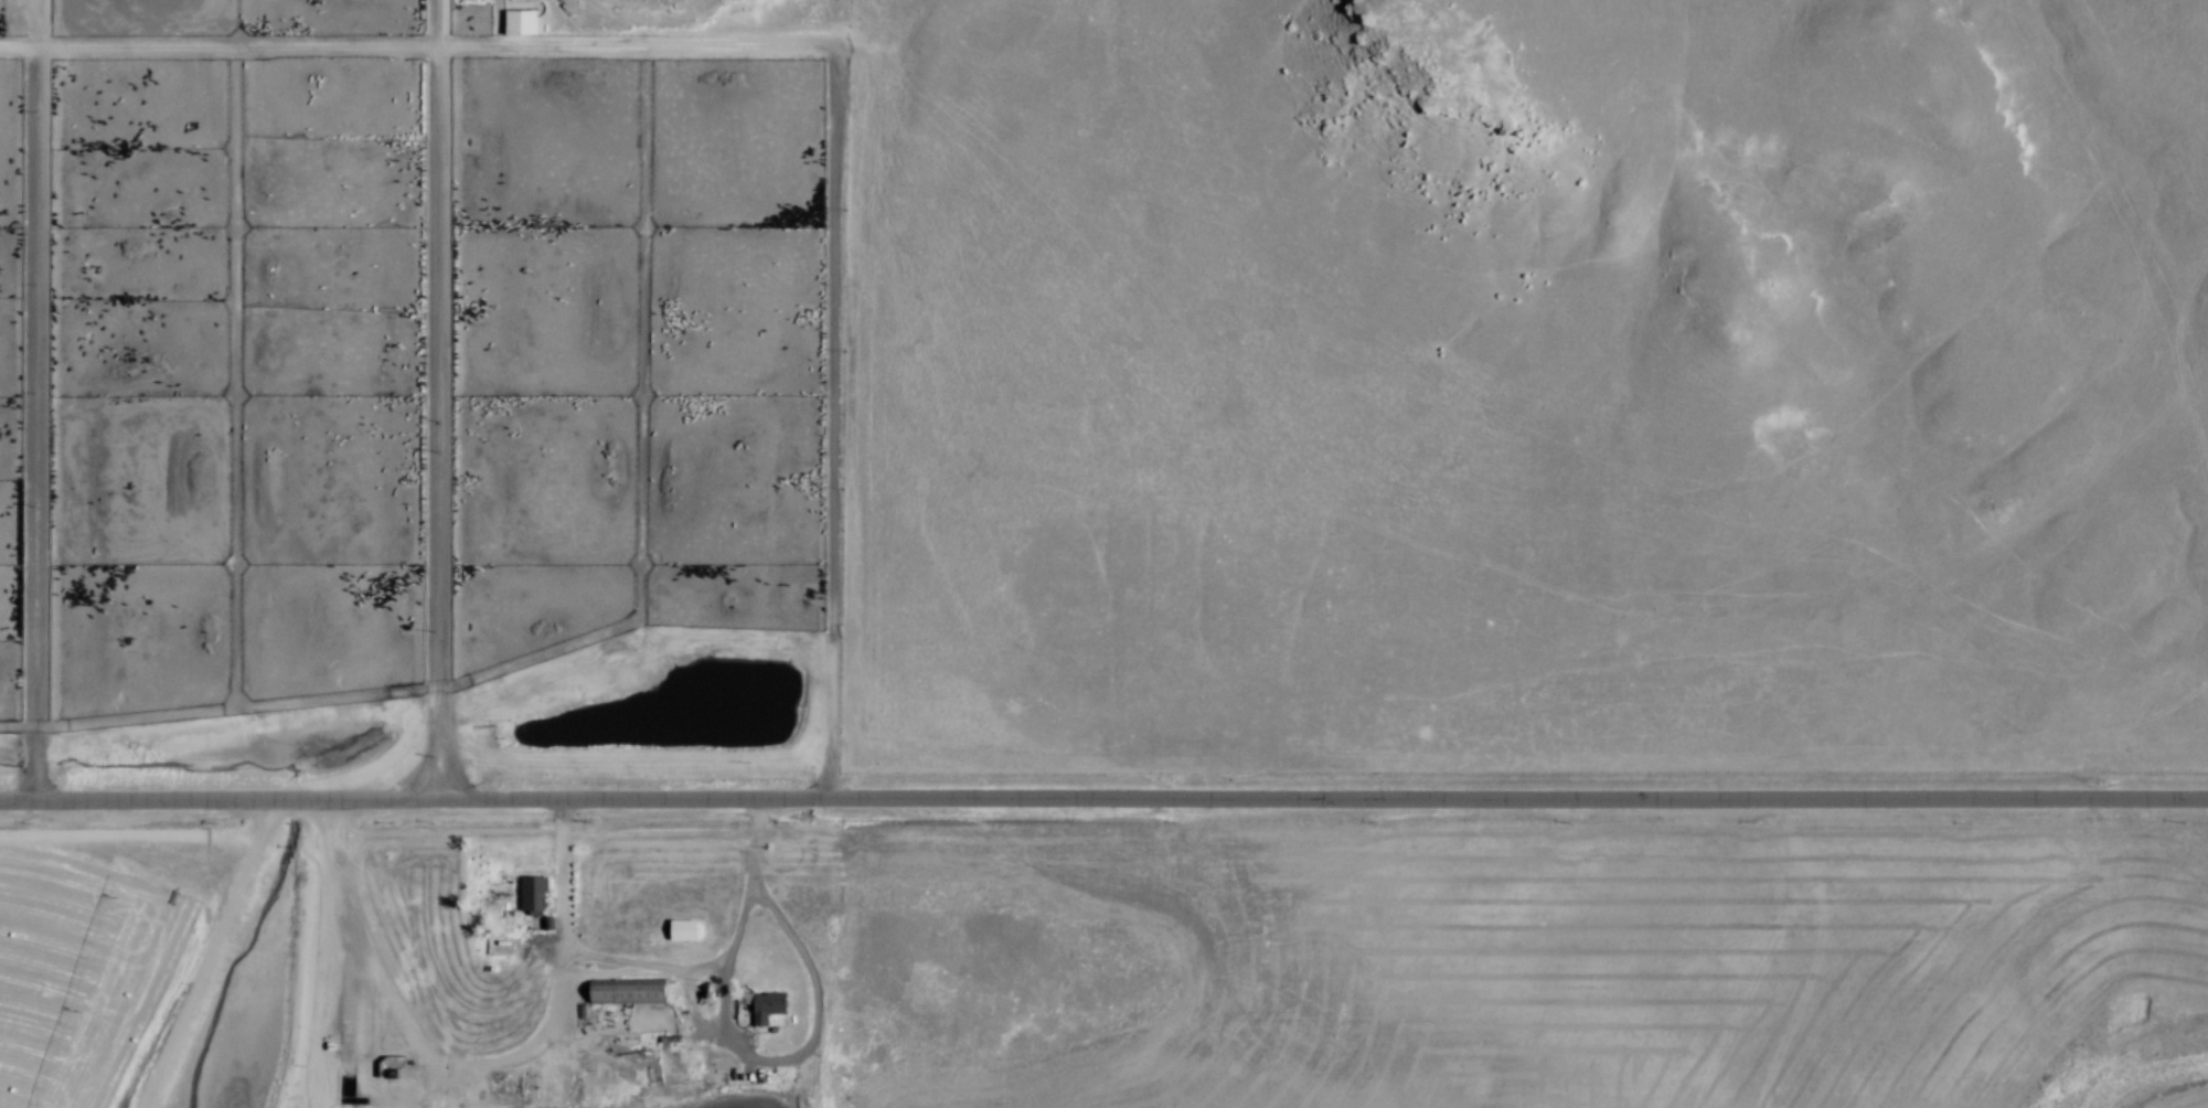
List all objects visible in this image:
building: (522, 21)
road: (792, 50)
road: (31, 401)
road: (434, 401)
road: (413, 803)
road: (1516, 805)
building: (531, 893)
building: (682, 931)
road: (728, 948)
road: (207, 957)
crop: (94, 966)
road: (630, 966)
crop: (1683, 973)
building: (623, 995)
building: (766, 1009)
road: (808, 1045)
road: (469, 1062)
crop: (2189, 1101)

